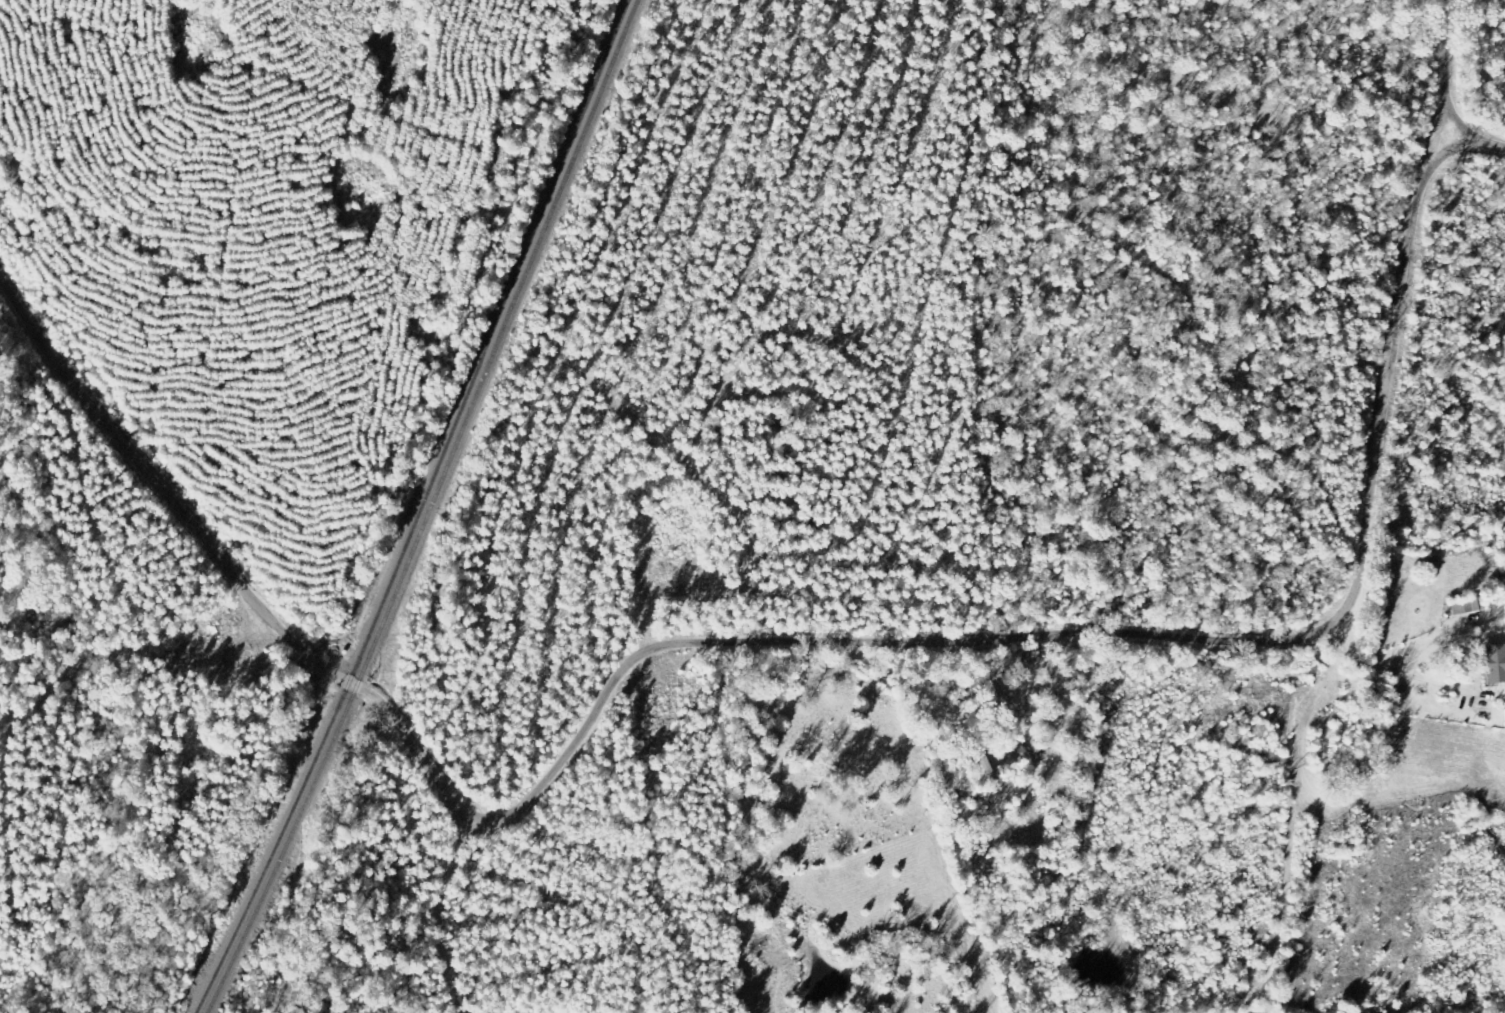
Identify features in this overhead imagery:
road: (1447, 88)
road: (1478, 178)
railway: (423, 510)
railway: (435, 511)
road: (227, 570)
road: (1093, 623)
building: (1496, 662)
road: (1397, 676)
road: (941, 828)
road: (613, 895)
road: (1267, 1007)

